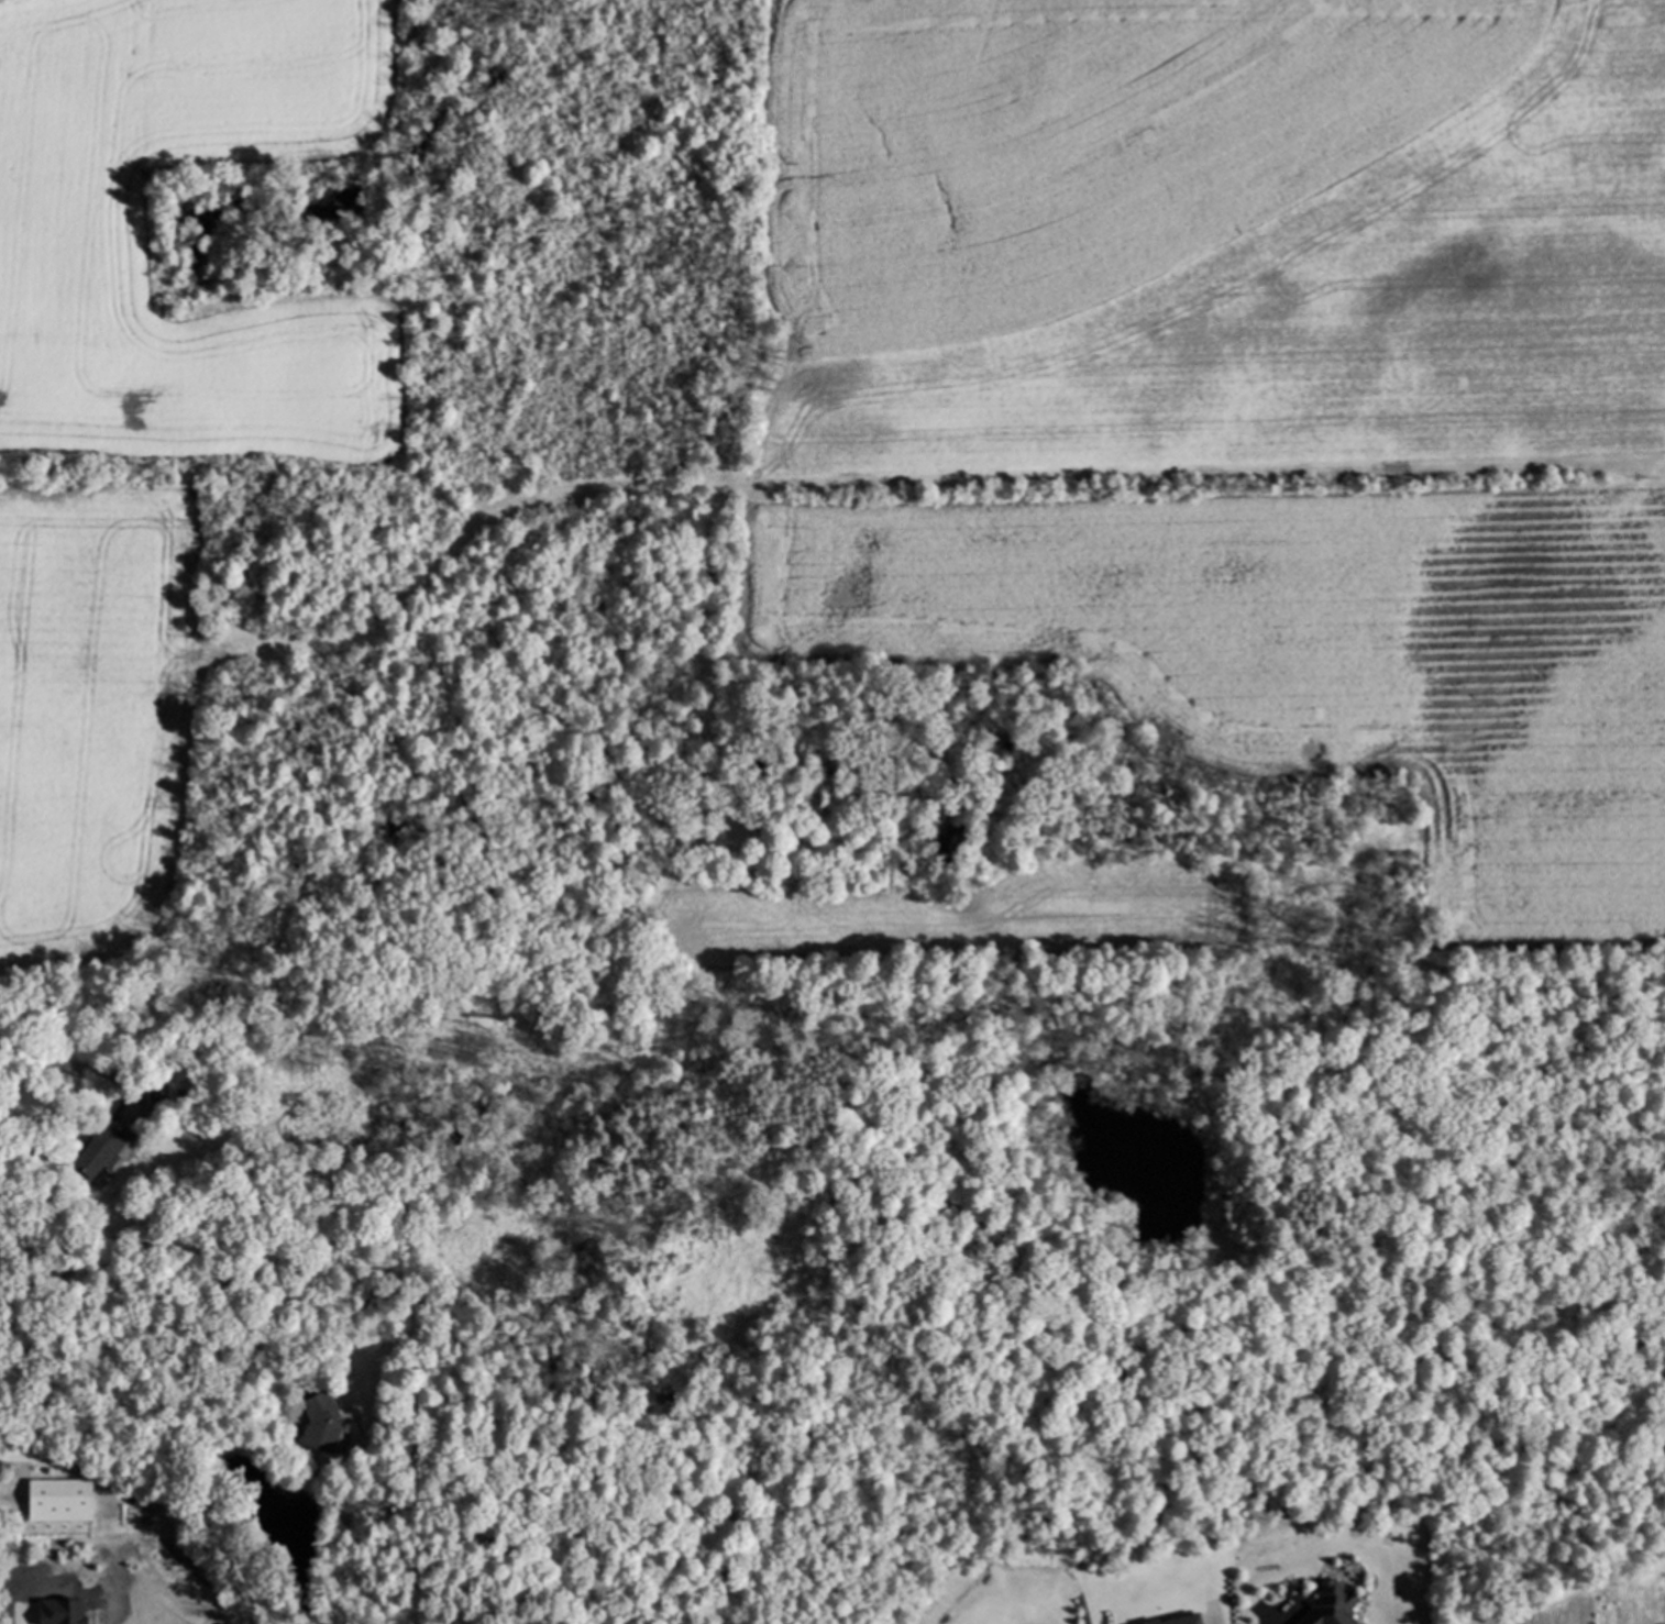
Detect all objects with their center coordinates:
road: (73, 1101)
building: (100, 1157)
park: (925, 1272)
road: (129, 1399)
building: (322, 1425)
building: (62, 1503)
building: (1334, 1606)
road: (30, 1623)

